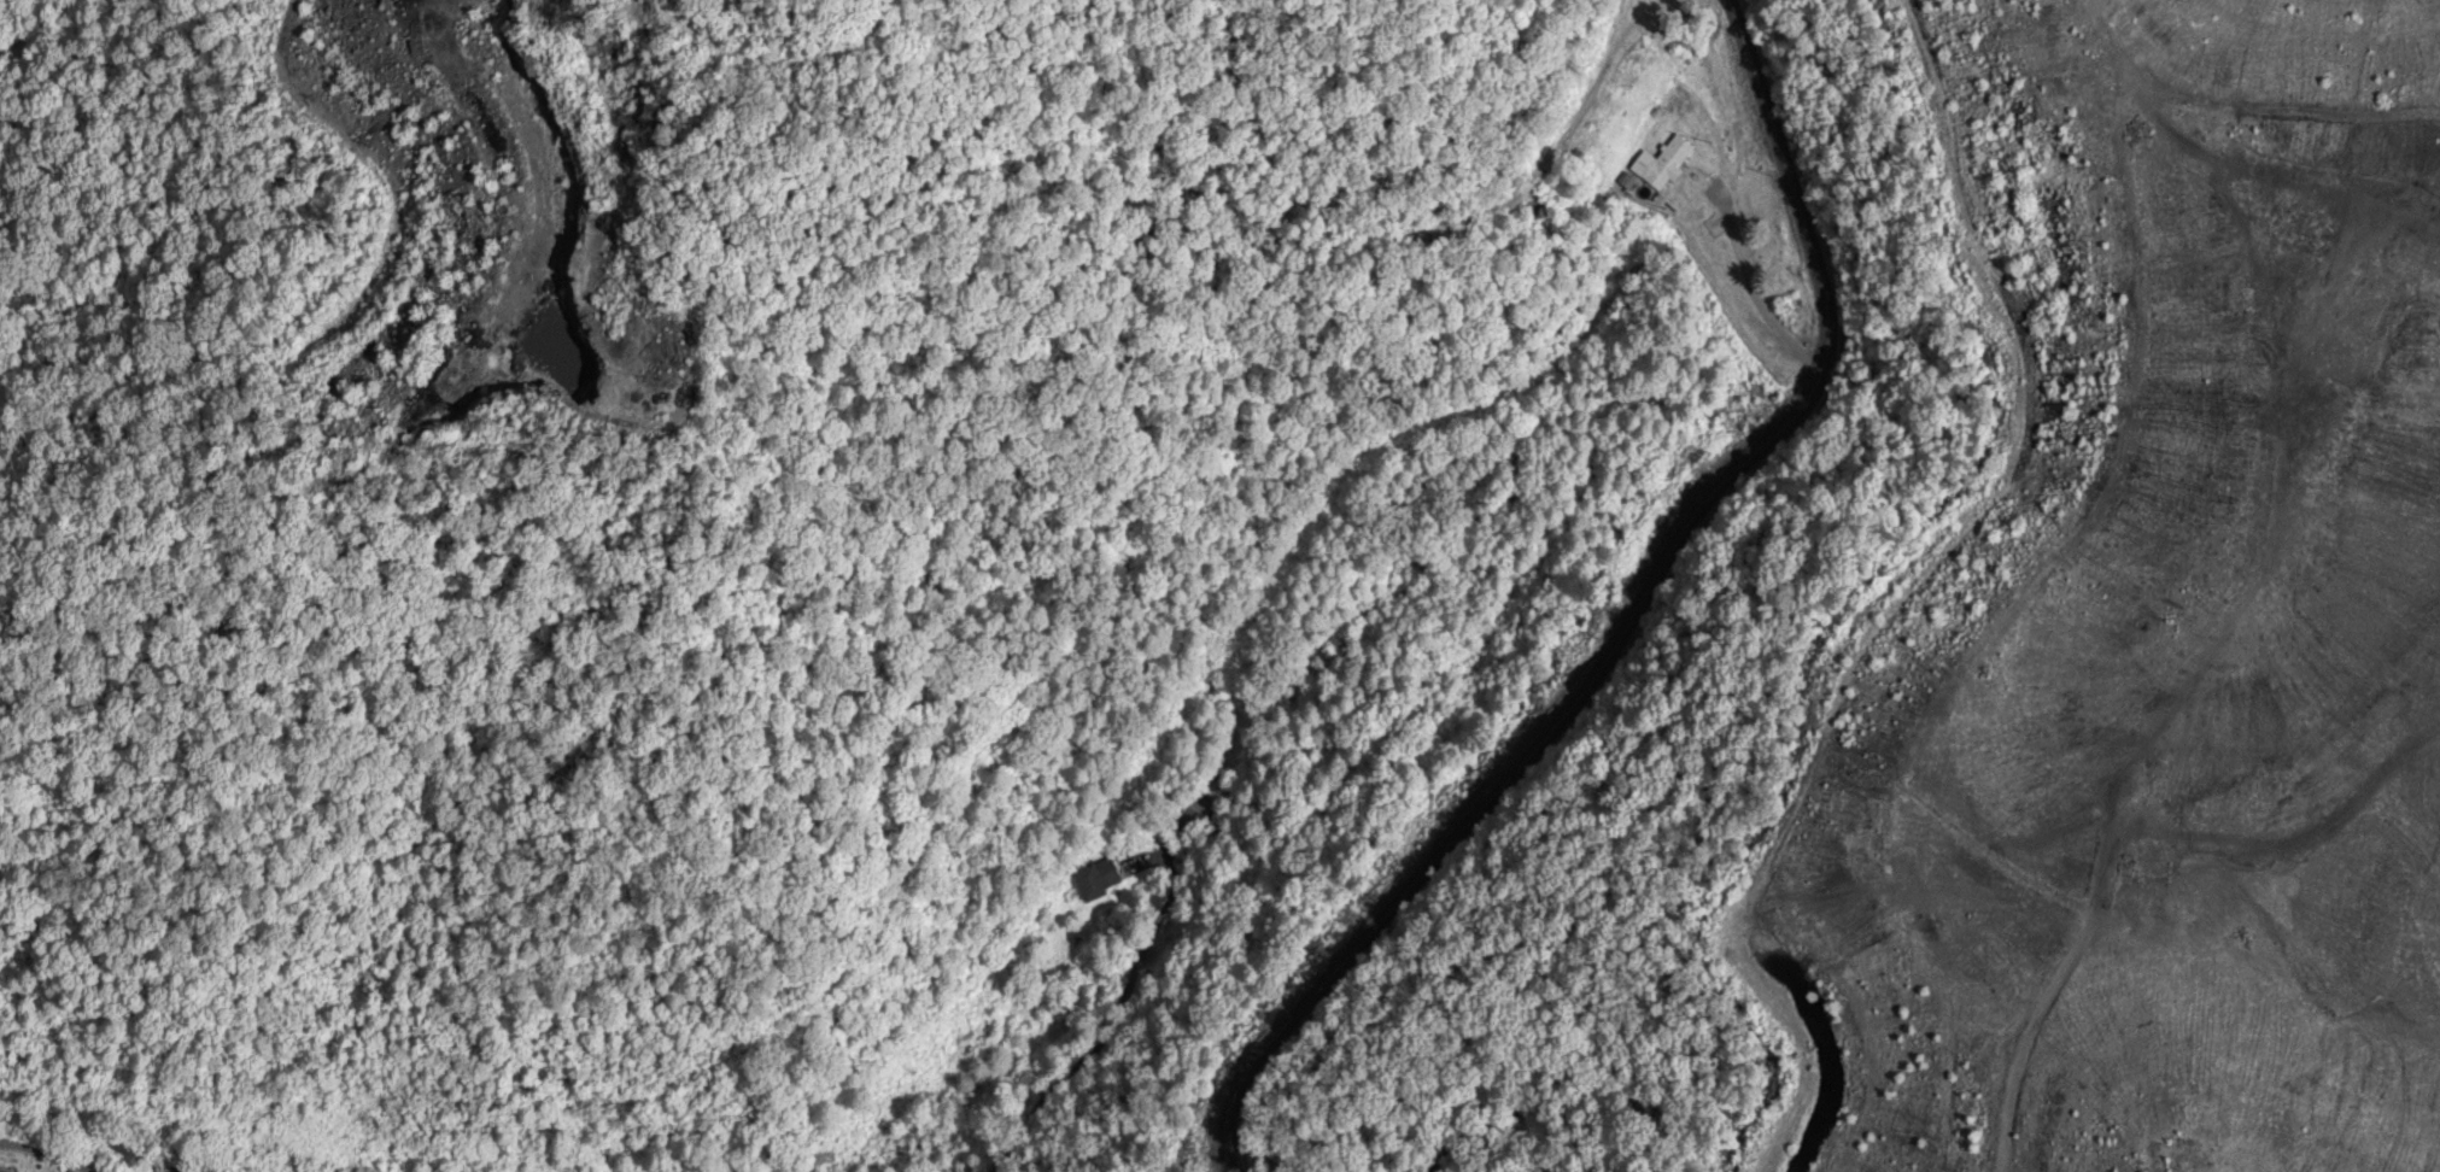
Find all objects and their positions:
building: (1662, 165)
road: (1622, 614)
building: (1101, 880)
road: (665, 957)
building: (0, 1171)

